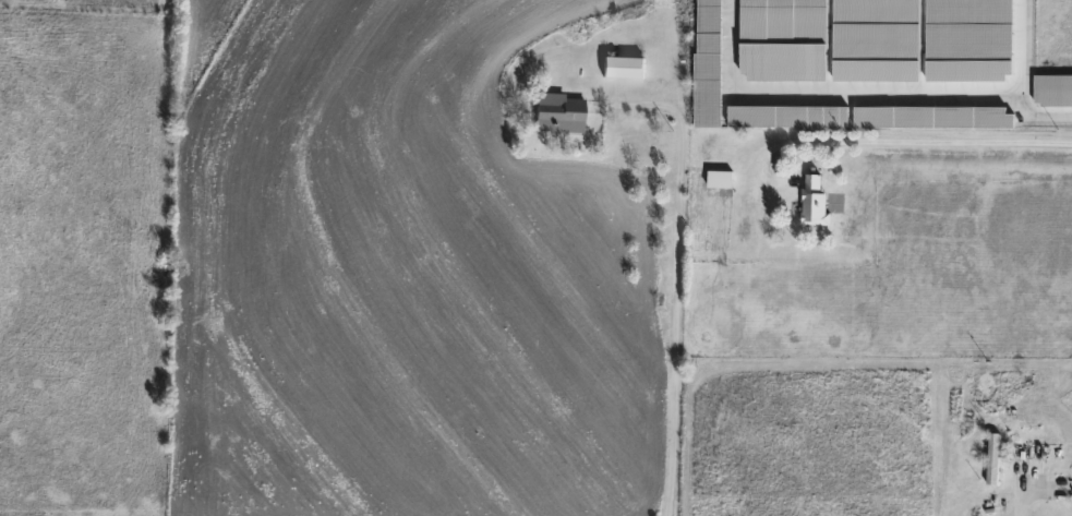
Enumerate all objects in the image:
building: (707, 62)
building: (621, 65)
road: (666, 83)
building: (1052, 89)
building: (556, 111)
building: (785, 116)
building: (931, 116)
road: (876, 132)
road: (773, 173)
building: (718, 178)
building: (812, 200)
road: (675, 268)
building: (1049, 452)
building: (991, 457)
building: (1069, 480)
road: (1031, 487)

